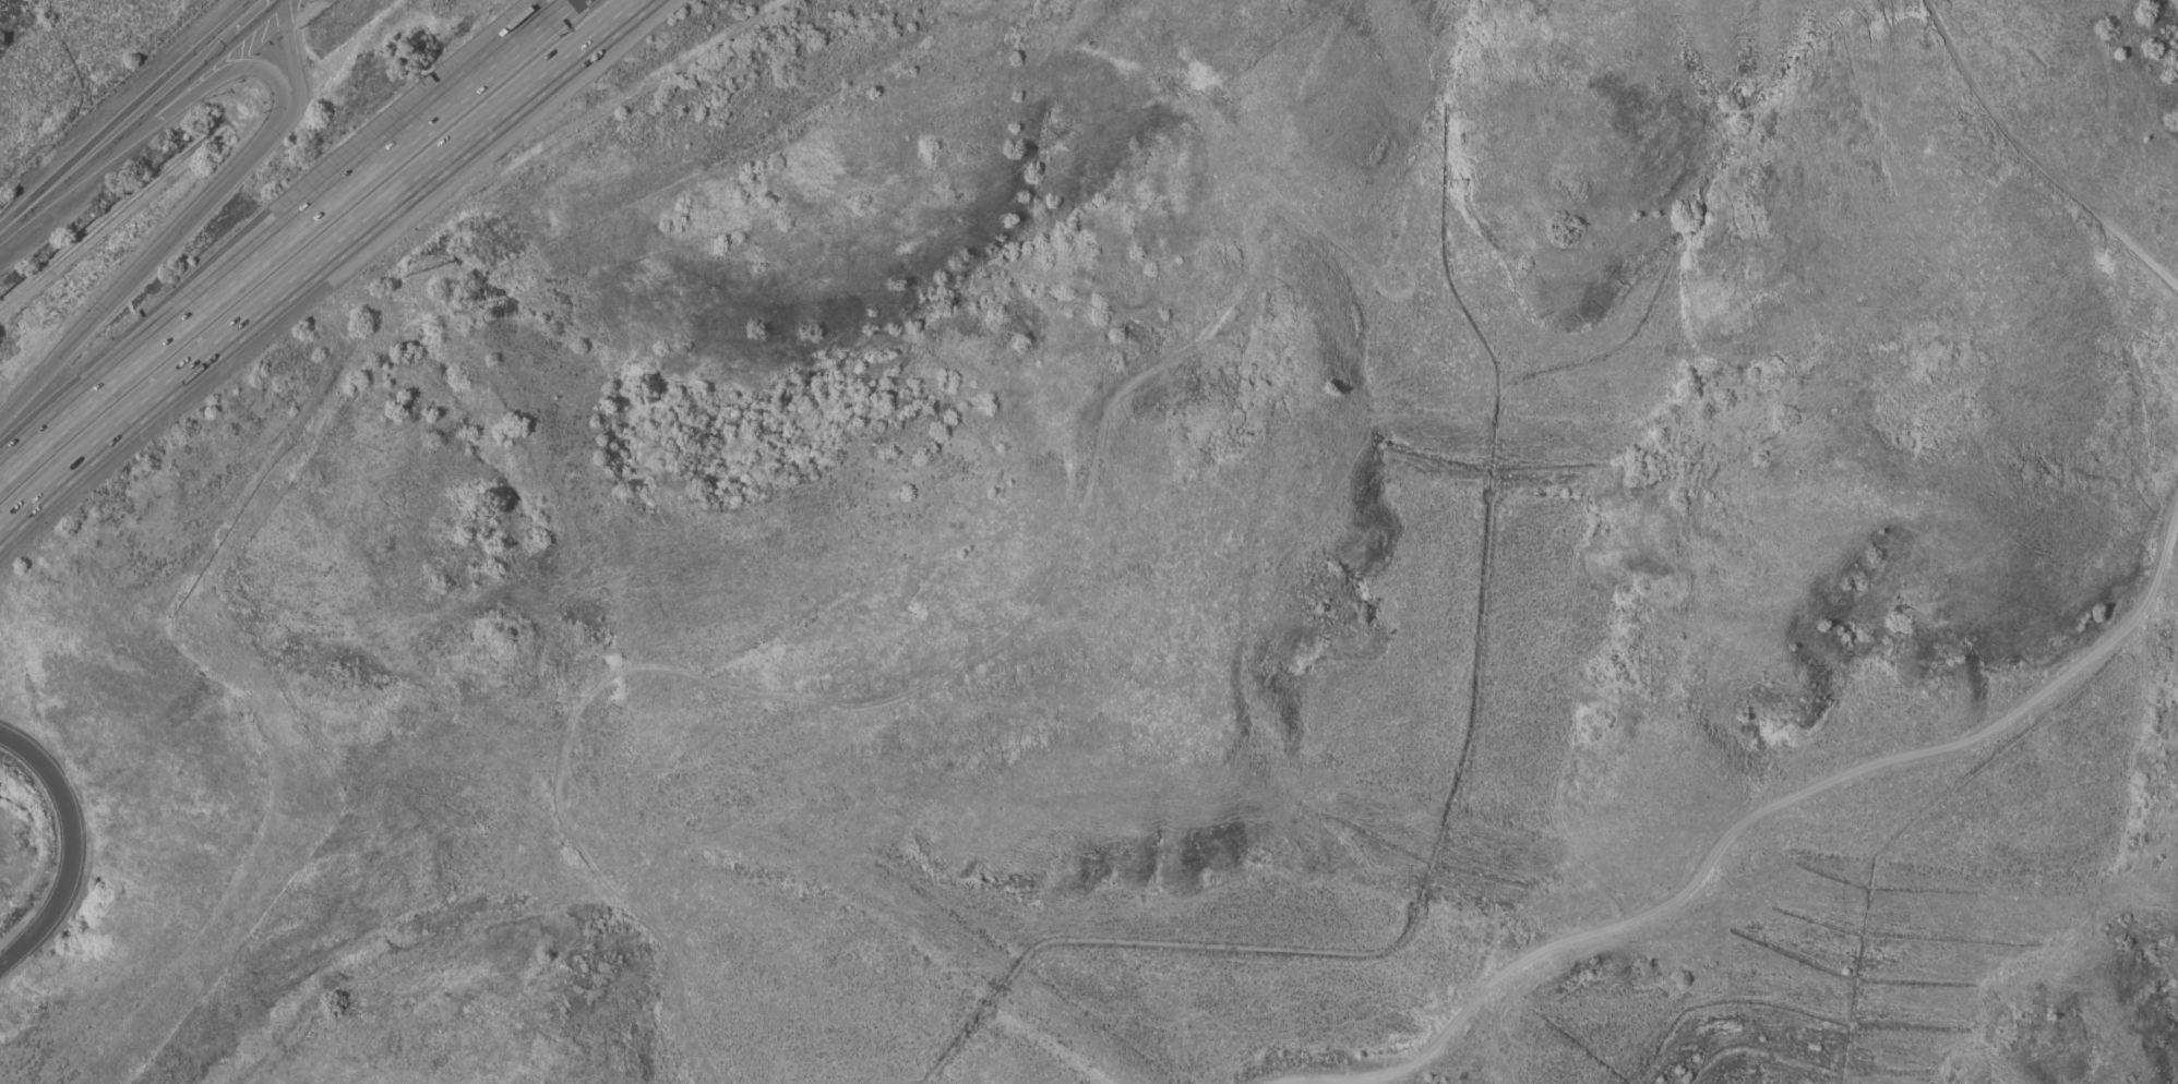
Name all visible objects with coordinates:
road: (247, 14)
road: (201, 88)
road: (161, 92)
road: (2026, 169)
road: (46, 193)
road: (184, 230)
road: (275, 238)
road: (312, 256)
road: (1790, 803)
road: (72, 847)

